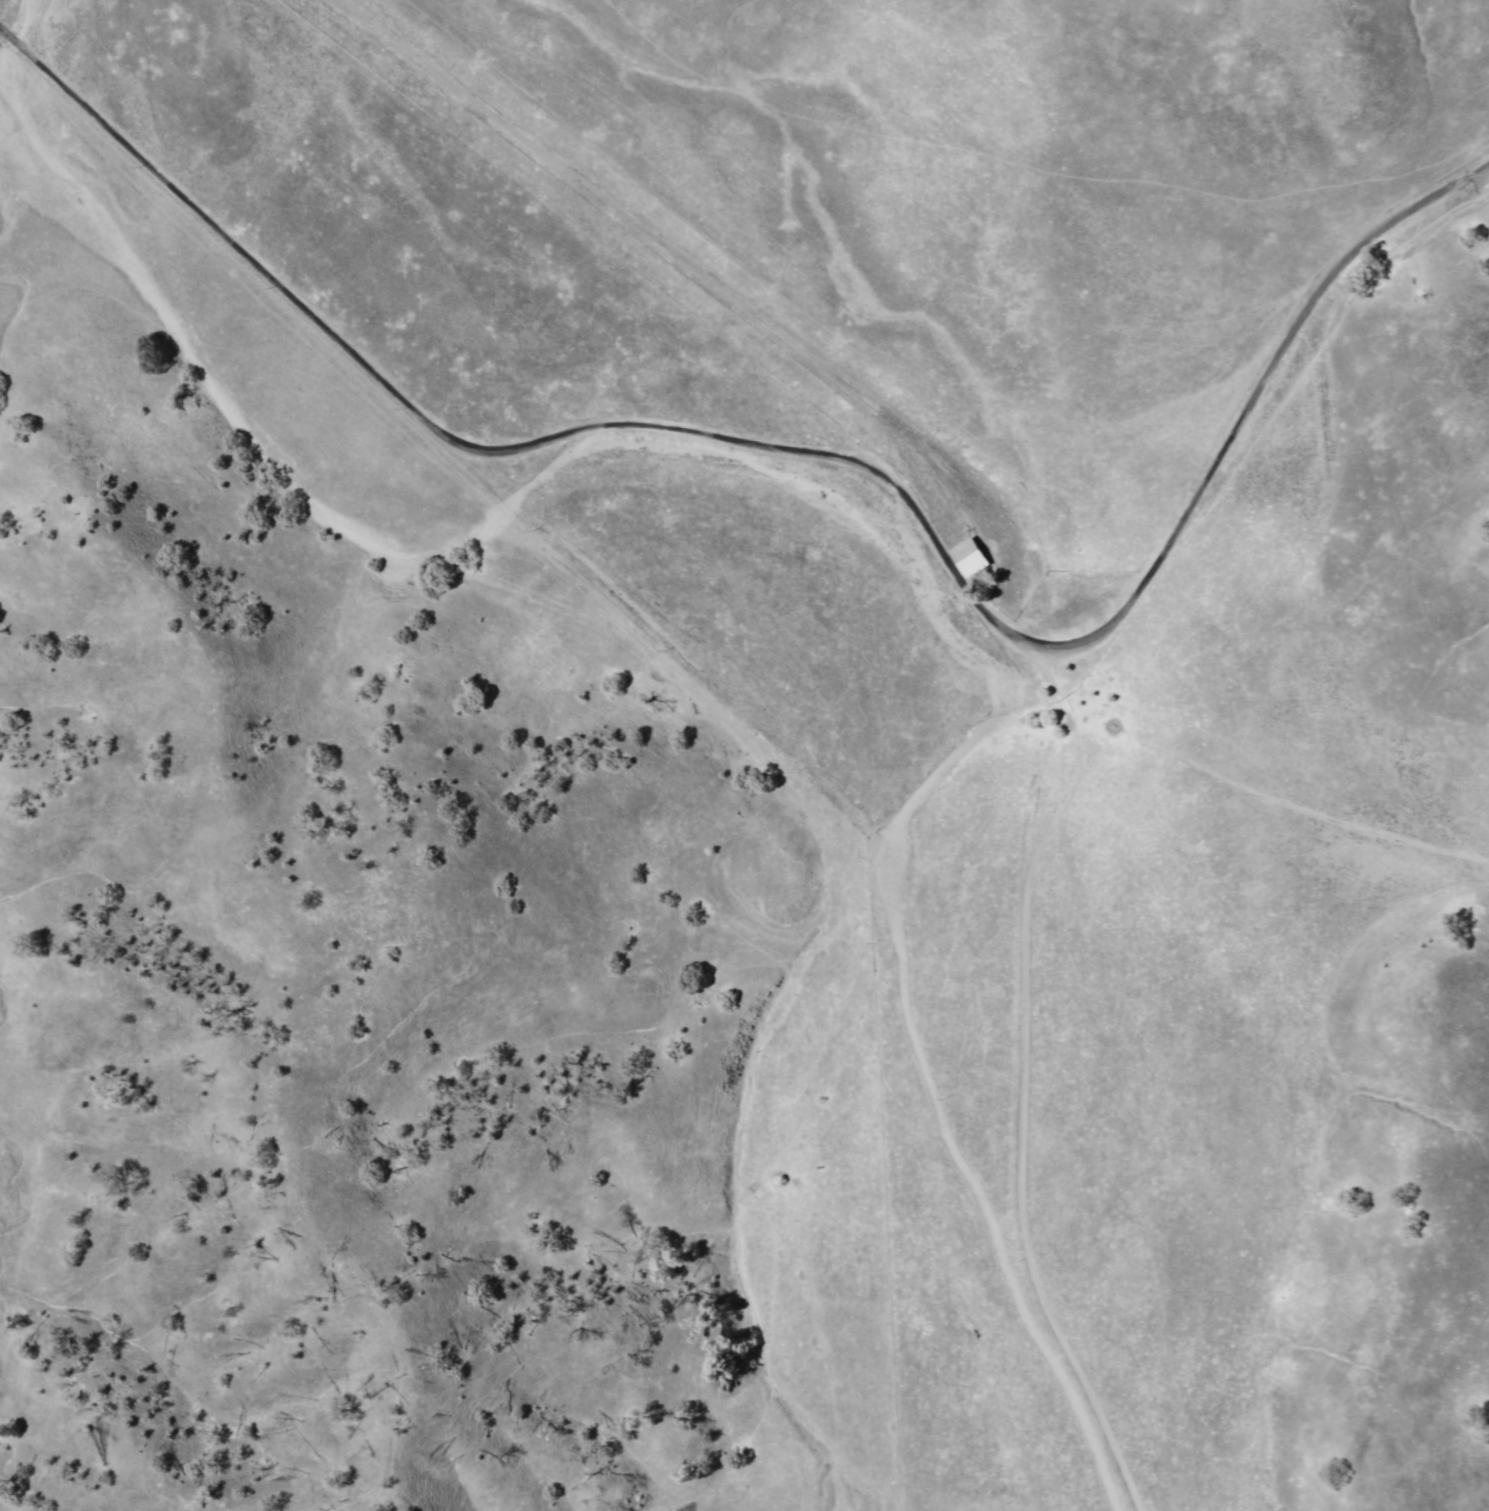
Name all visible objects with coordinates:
airport runway: (660, 264)
airport: (688, 280)
road: (1248, 400)
road: (480, 452)
building: (971, 558)
road: (1024, 1081)

